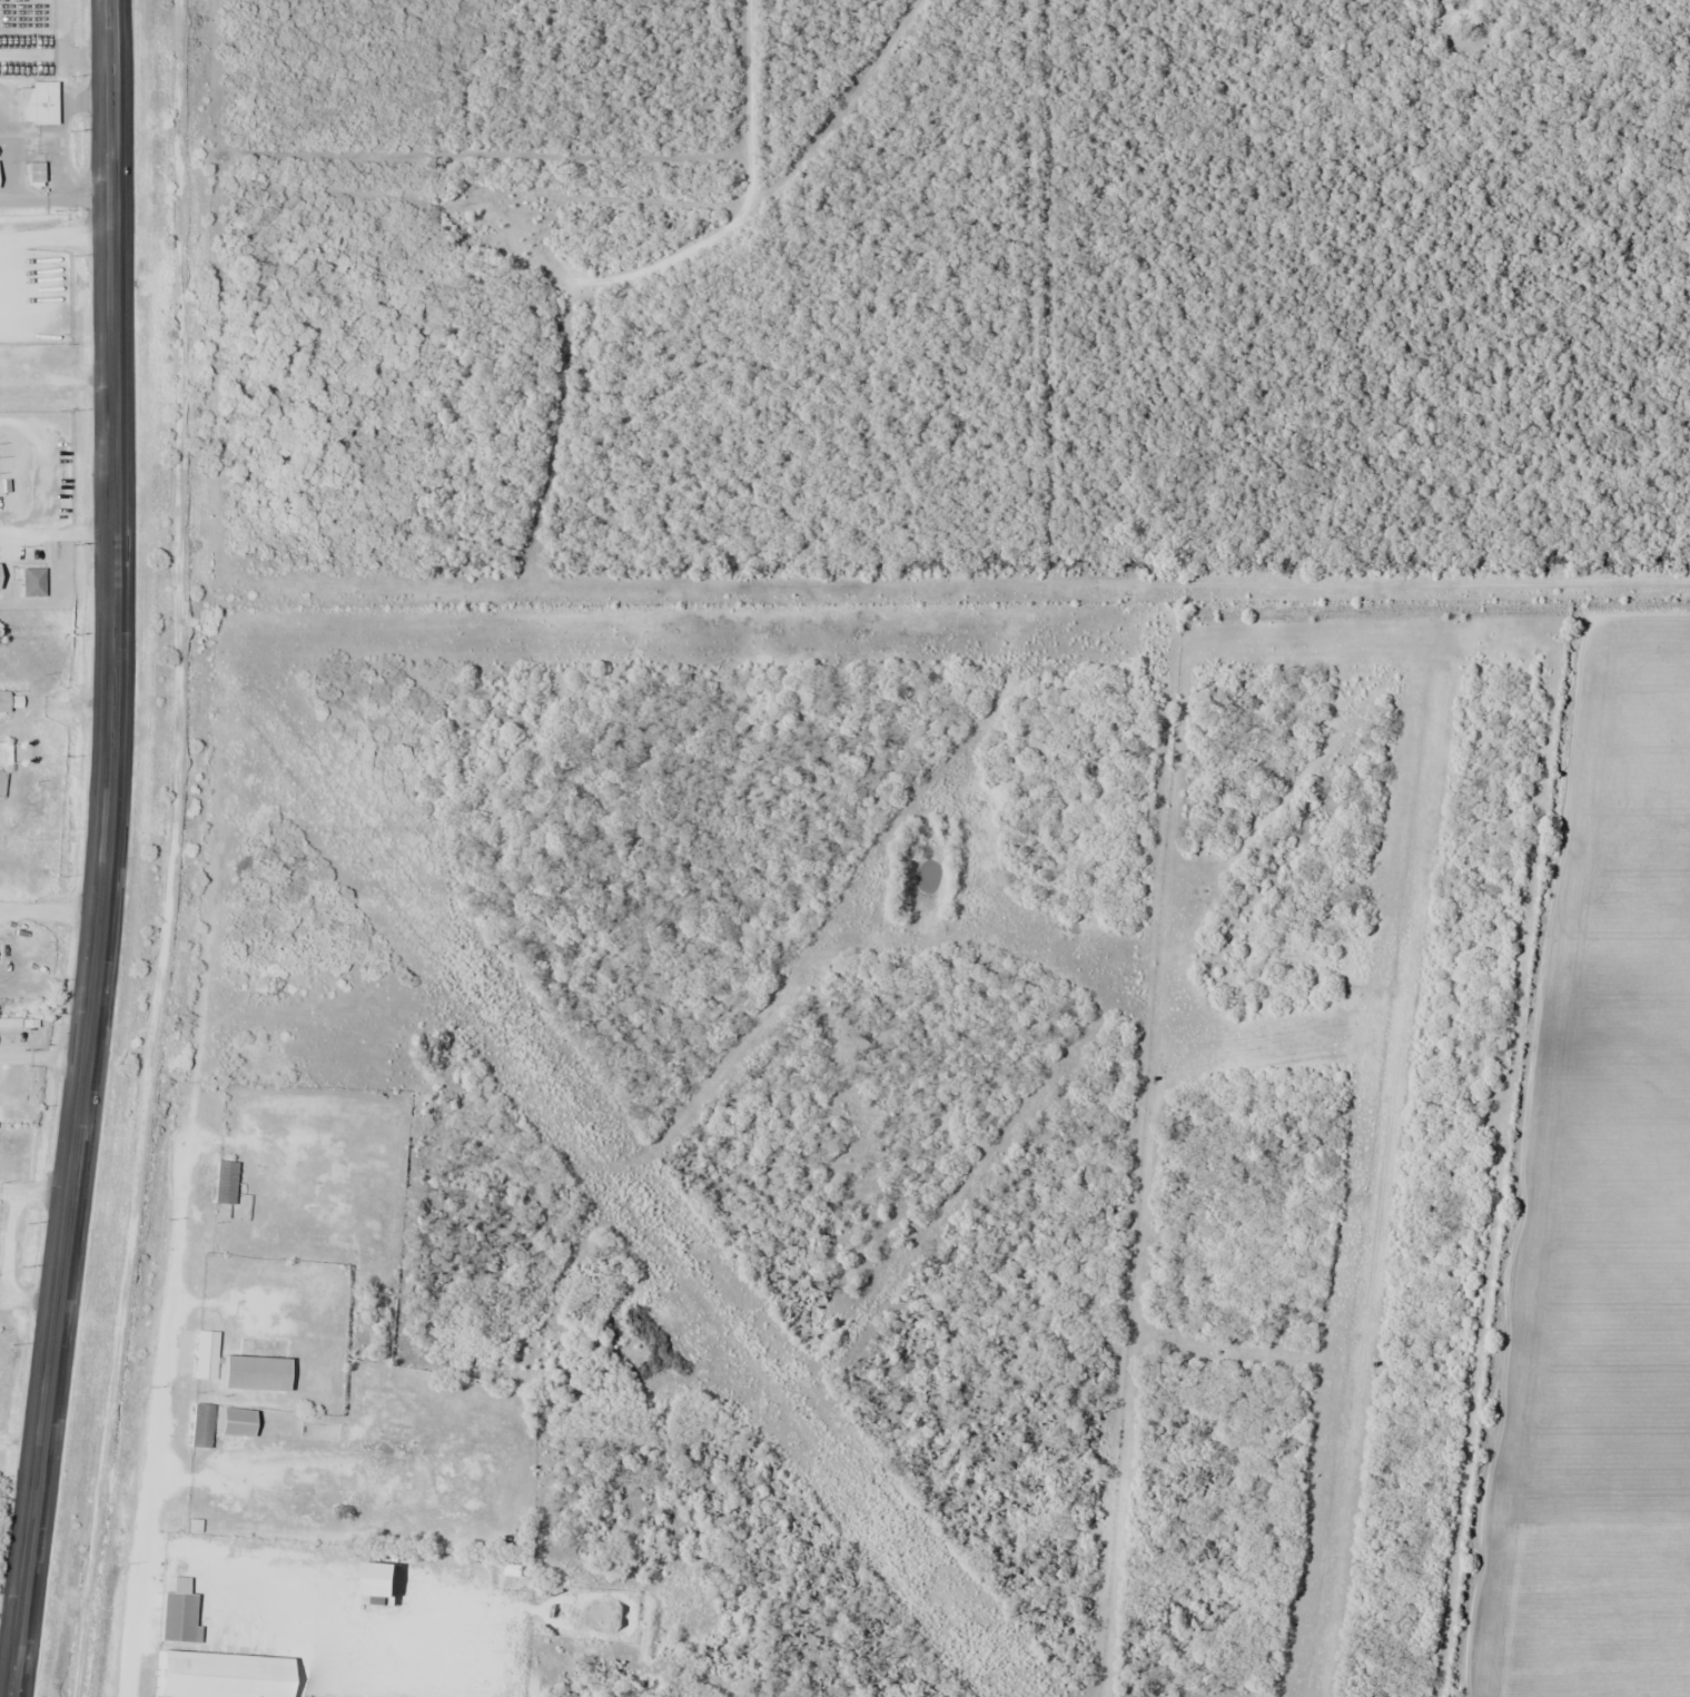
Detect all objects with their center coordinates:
building: (36, 103)
building: (32, 172)
road: (642, 283)
building: (30, 581)
building: (9, 700)
building: (3, 753)
building: (0, 783)
road: (107, 812)
railway: (177, 851)
road: (154, 1444)
road: (9, 1658)
road: (20, 1658)
building: (217, 1675)

